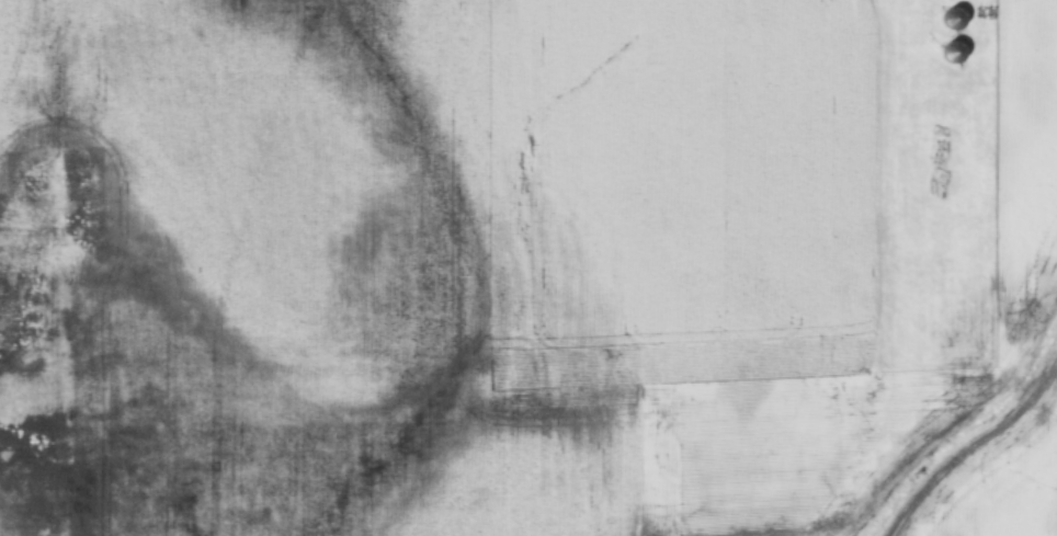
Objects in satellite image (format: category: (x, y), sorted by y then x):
building: (952, 16)
building: (951, 50)

